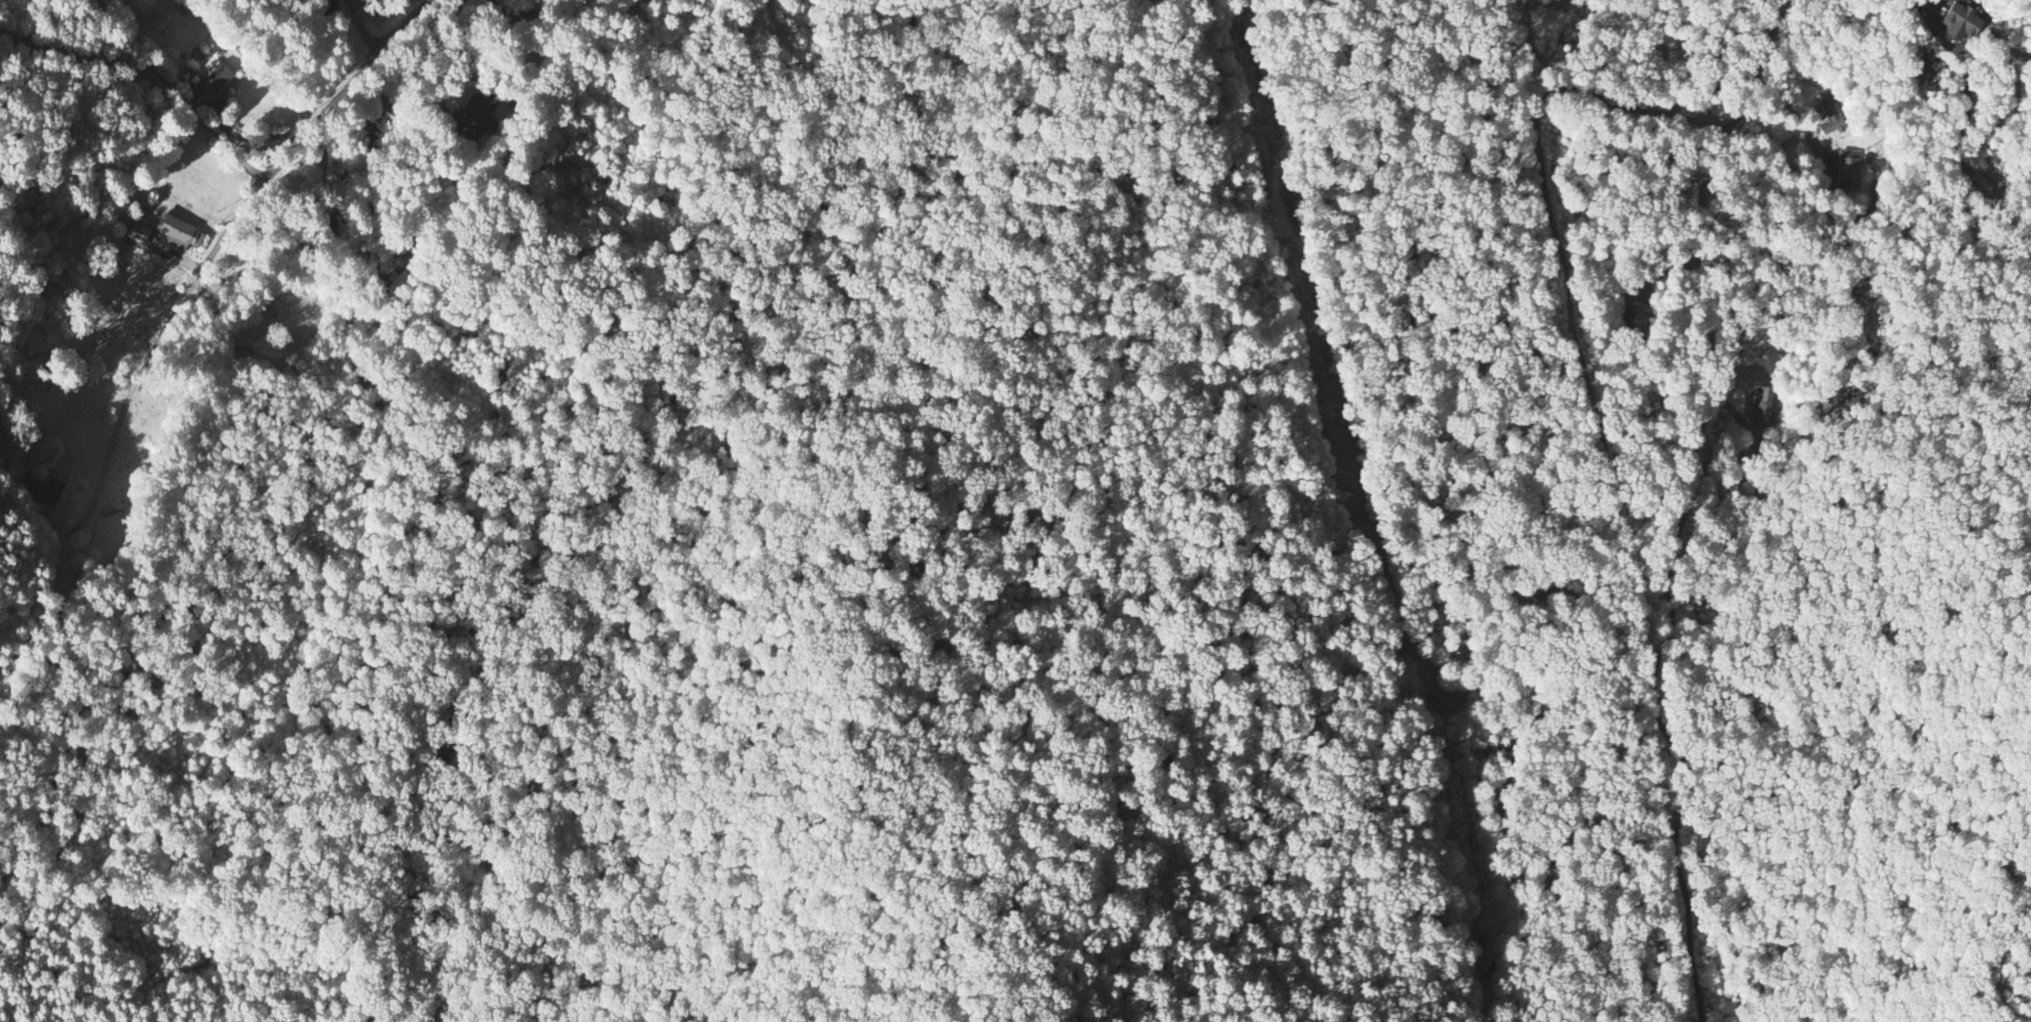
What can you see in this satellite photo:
building: (378, 10)
building: (1960, 19)
road: (365, 26)
road: (151, 61)
road: (438, 63)
road: (1966, 74)
building: (213, 81)
road: (2012, 87)
road: (347, 88)
road: (443, 101)
building: (480, 106)
road: (1646, 106)
building: (1830, 113)
road: (1800, 120)
building: (1849, 168)
road: (333, 207)
road: (1831, 211)
building: (178, 229)
building: (136, 230)
road: (174, 313)
building: (1762, 403)
road: (413, 488)
road: (1679, 507)
road: (2022, 978)

